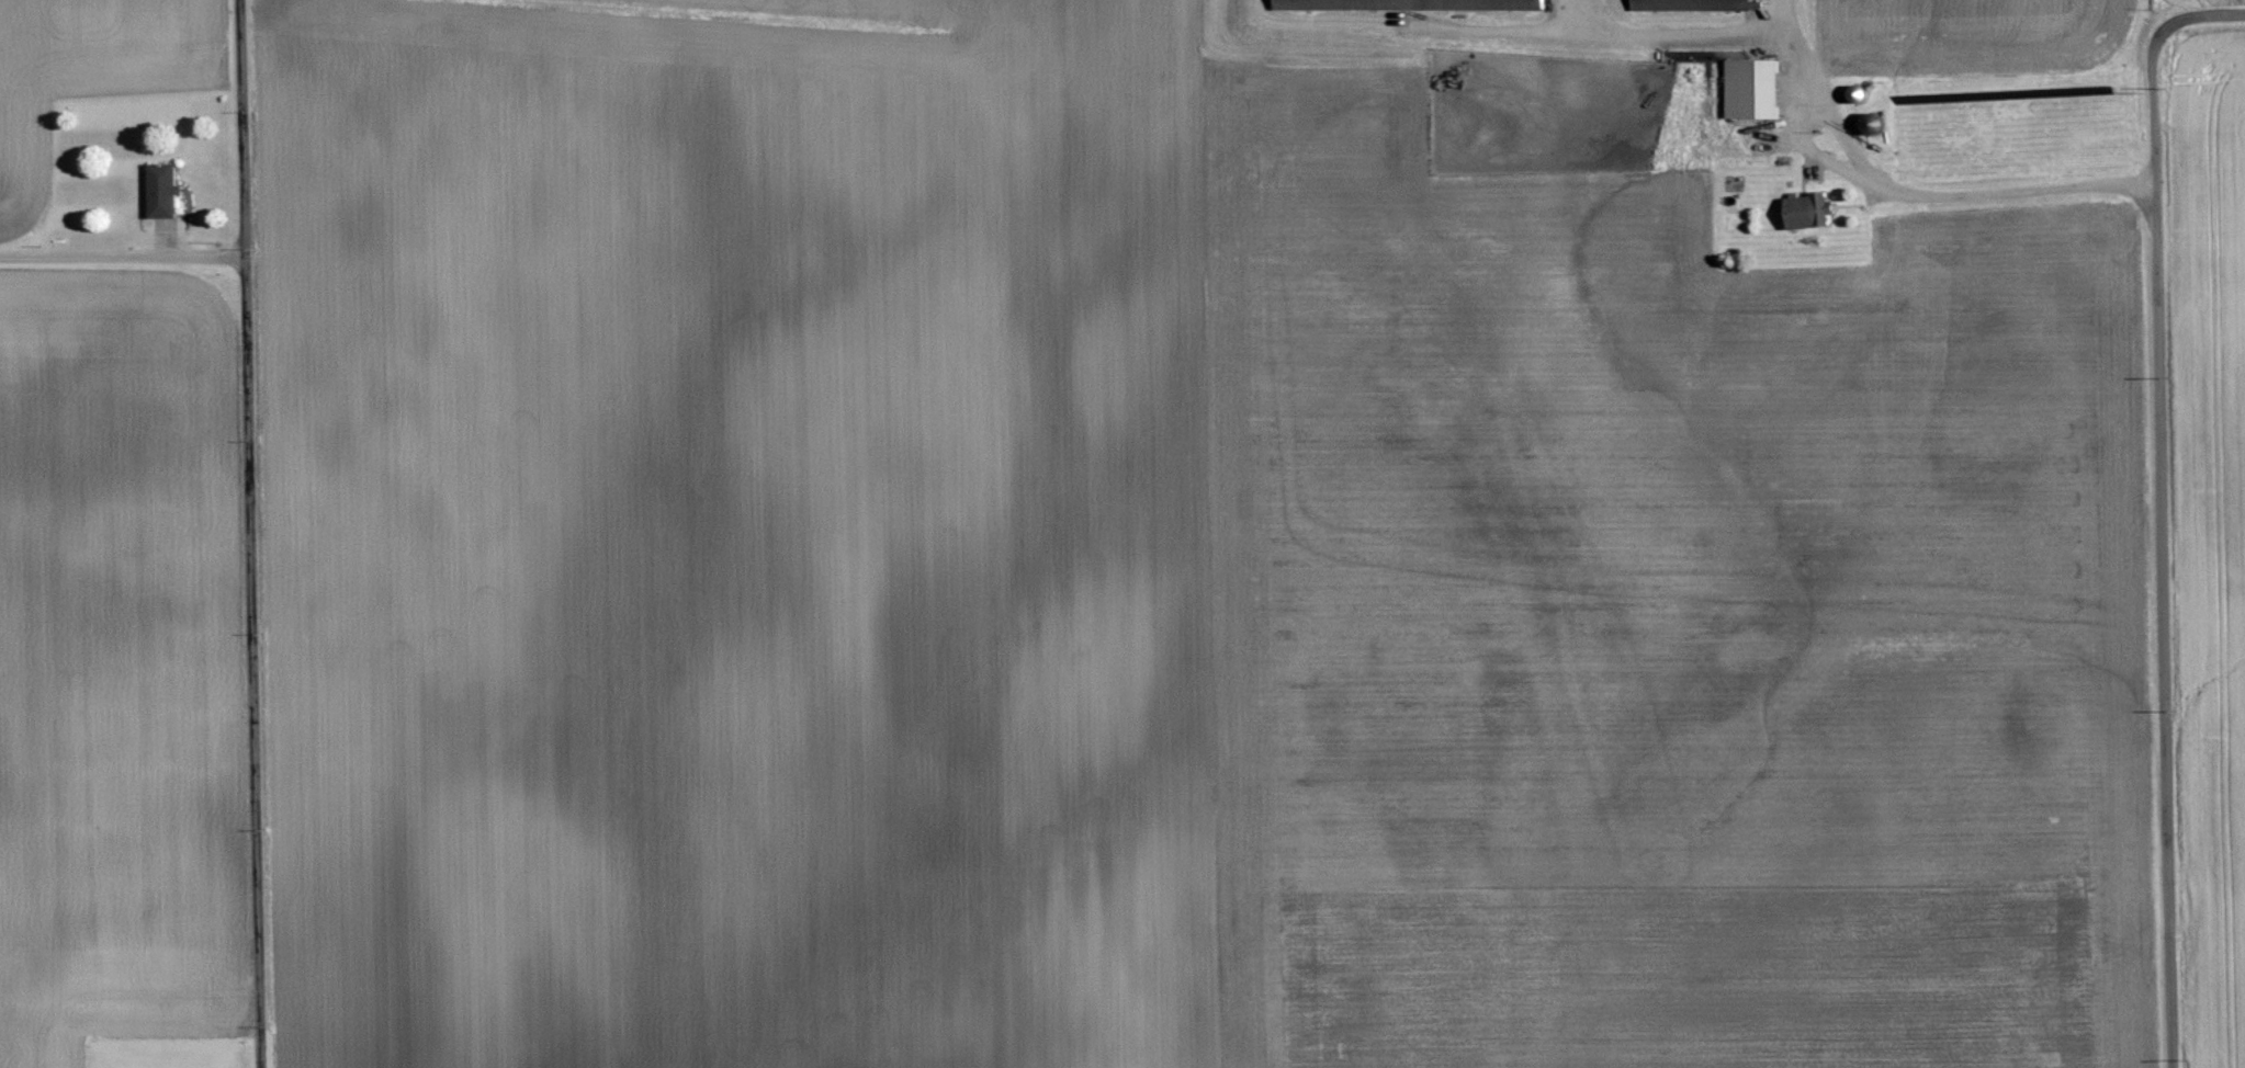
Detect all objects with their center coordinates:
building: (1310, 5)
road: (2159, 64)
building: (1750, 90)
road: (1842, 134)
building: (160, 192)
building: (1806, 212)
road: (122, 254)
road: (248, 534)
road: (2158, 625)

